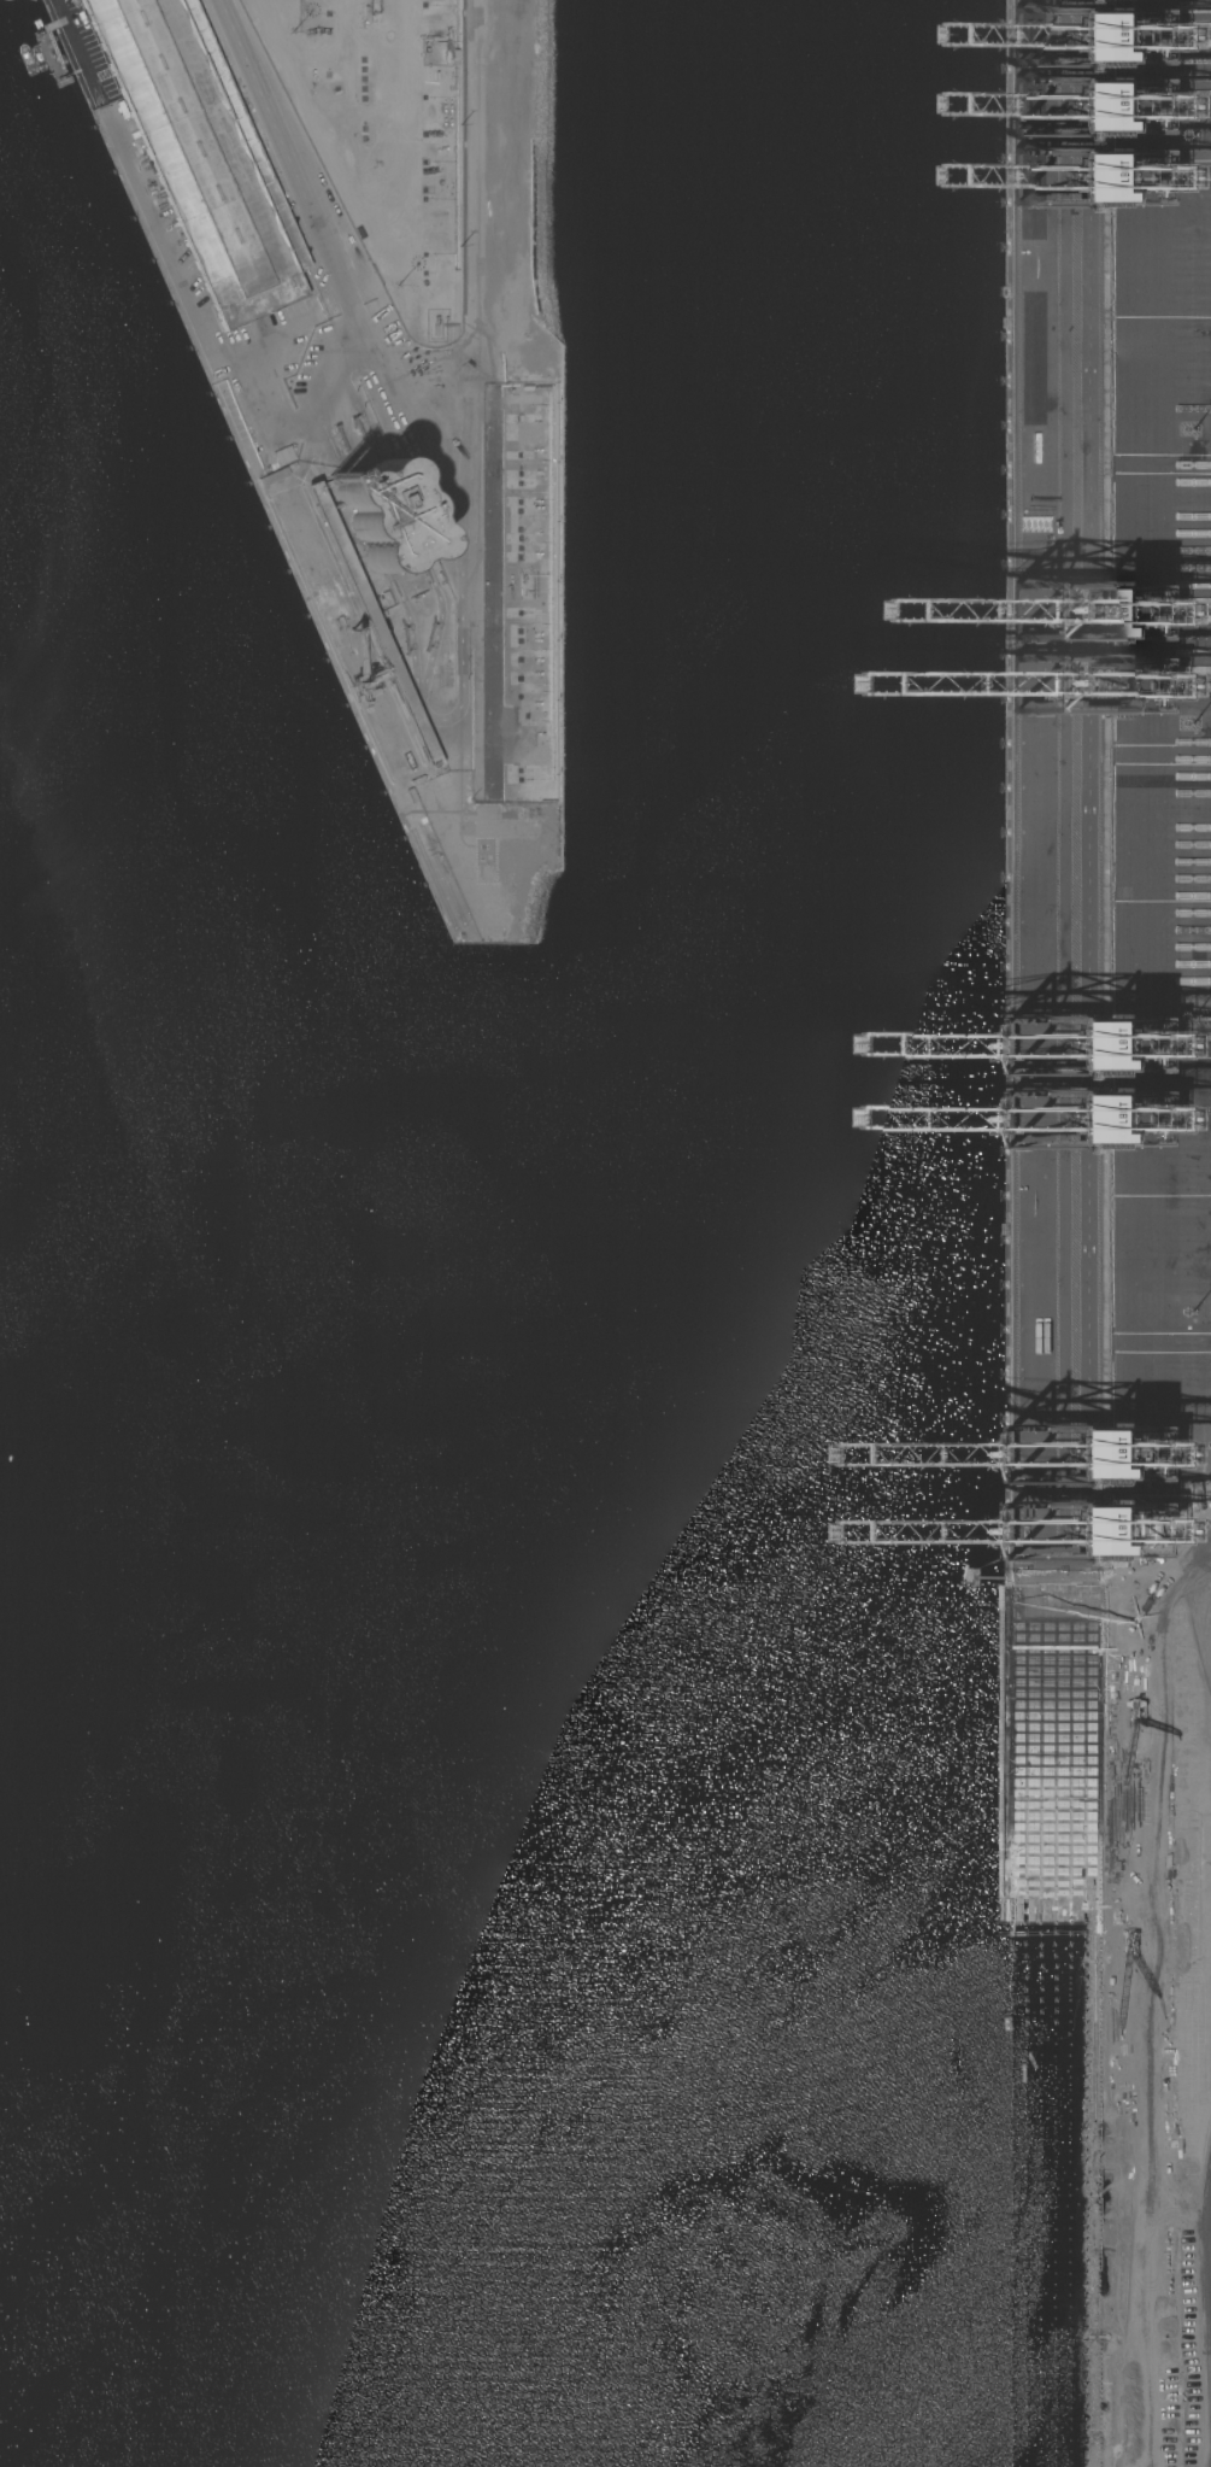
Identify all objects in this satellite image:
building: (1154, 0)
petroleum well: (314, 31)
petroleum well: (431, 133)
building: (201, 154)
petroleum well: (430, 170)
road: (313, 222)
road: (472, 371)
road: (272, 427)
building: (274, 476)
building: (384, 516)
building: (363, 572)
building: (371, 623)

